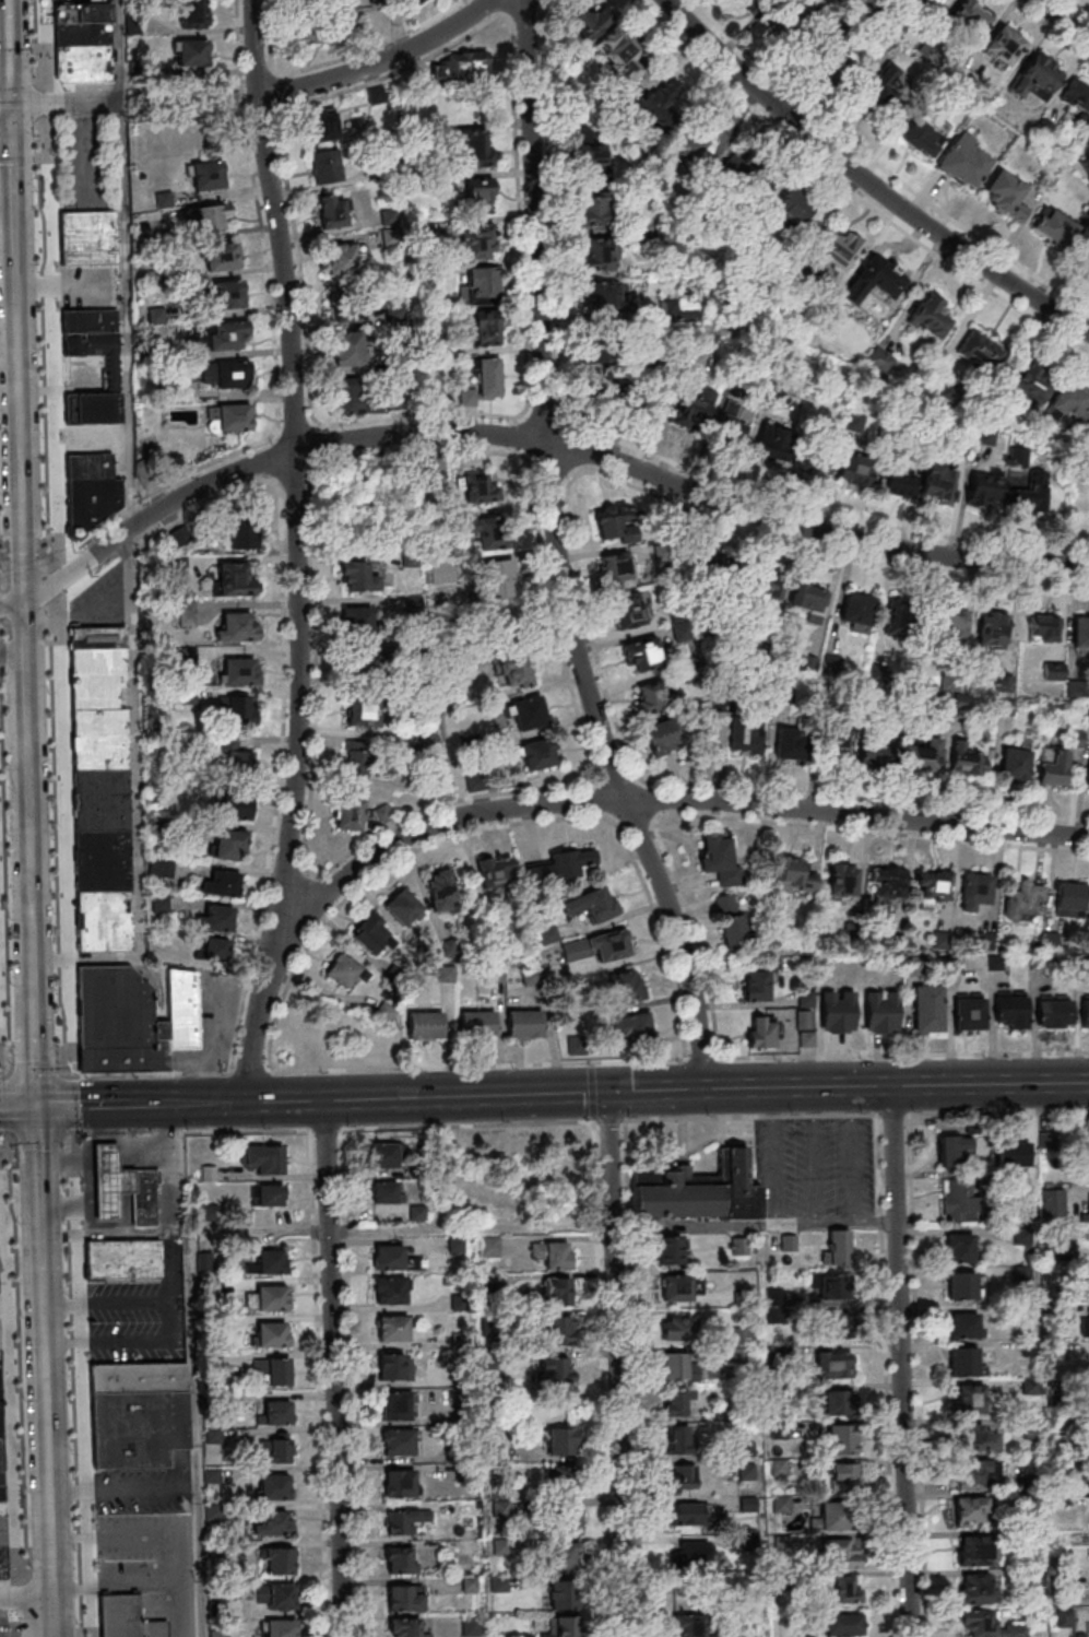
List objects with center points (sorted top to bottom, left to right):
building: (932, 2)
building: (755, 3)
street lamp: (31, 9)
building: (193, 14)
building: (82, 15)
building: (972, 19)
building: (791, 20)
road: (1061, 20)
parking lot: (24, 22)
building: (592, 25)
building: (316, 31)
building: (83, 36)
road: (35, 37)
road: (45, 37)
building: (1005, 46)
road: (14, 48)
road: (37, 48)
road: (10, 50)
building: (191, 51)
building: (616, 56)
building: (839, 57)
road: (336, 60)
road: (379, 61)
building: (83, 66)
building: (465, 66)
street lamp: (32, 74)
building: (1038, 76)
road: (42, 82)
building: (880, 93)
building: (663, 97)
road: (5, 98)
building: (1077, 98)
road: (42, 102)
road: (67, 102)
traffic signals: (11, 103)
road: (5, 108)
building: (322, 125)
road: (43, 136)
street lamp: (34, 139)
building: (922, 139)
building: (469, 141)
road: (15, 157)
road: (37, 157)
building: (591, 161)
building: (963, 161)
parking lot: (88, 163)
building: (325, 165)
building: (208, 175)
building: (750, 175)
road: (866, 180)
road: (13, 191)
parking lot: (28, 191)
building: (478, 195)
building: (1007, 195)
building: (794, 209)
building: (332, 211)
building: (593, 211)
building: (209, 215)
building: (1054, 228)
building: (88, 239)
building: (476, 243)
building: (838, 249)
building: (600, 254)
building: (224, 257)
building: (345, 259)
road: (125, 262)
building: (1088, 266)
street lamp: (37, 271)
building: (875, 280)
building: (482, 286)
parking lot: (88, 287)
building: (227, 295)
building: (604, 296)
building: (347, 306)
building: (930, 315)
parking lot: (1, 323)
building: (484, 331)
building: (224, 335)
parking lot: (32, 342)
road: (274, 344)
building: (347, 351)
building: (980, 351)
street lamp: (39, 355)
road: (50, 357)
road: (43, 358)
road: (17, 362)
building: (602, 369)
building: (232, 374)
building: (1032, 382)
building: (485, 384)
building: (359, 398)
building: (1073, 402)
building: (689, 413)
building: (234, 416)
building: (93, 422)
street lamp: (42, 437)
building: (773, 439)
road: (542, 445)
parking lot: (3, 458)
building: (857, 468)
building: (446, 471)
parking lot: (35, 472)
building: (899, 481)
building: (937, 483)
building: (365, 485)
building: (981, 490)
building: (484, 491)
building: (1027, 497)
street lamp: (43, 514)
building: (613, 520)
road: (21, 523)
building: (242, 534)
building: (490, 537)
road: (295, 551)
road: (555, 554)
road: (43, 561)
road: (4, 562)
road: (21, 562)
building: (703, 564)
road: (52, 565)
street lamp: (0, 569)
building: (622, 574)
building: (354, 576)
building: (234, 578)
building: (493, 580)
road: (52, 582)
building: (812, 601)
parking lot: (97, 603)
road: (11, 604)
road: (54, 611)
building: (857, 611)
building: (628, 612)
street lamp: (45, 615)
building: (897, 617)
building: (356, 621)
building: (951, 622)
street lamp: (1, 624)
road: (45, 626)
building: (237, 626)
road: (5, 627)
road: (23, 627)
building: (1043, 628)
building: (993, 629)
building: (1080, 632)
road: (282, 650)
building: (641, 656)
building: (241, 670)
building: (359, 670)
building: (519, 672)
building: (1054, 672)
road: (25, 684)
street lamp: (48, 693)
building: (651, 698)
street lamp: (3, 700)
building: (237, 708)
building: (529, 712)
building: (362, 714)
parking lot: (42, 716)
building: (663, 740)
building: (746, 740)
building: (791, 743)
building: (838, 745)
building: (874, 753)
building: (928, 753)
building: (538, 754)
building: (358, 756)
building: (967, 756)
building: (238, 762)
street lamp: (49, 763)
building: (1015, 765)
parking lot: (11, 767)
street lamp: (5, 768)
building: (1053, 768)
building: (1088, 774)
building: (100, 790)
road: (134, 799)
building: (235, 801)
road: (609, 802)
building: (350, 815)
road: (748, 820)
road: (636, 823)
road: (619, 824)
road: (652, 824)
road: (497, 825)
road: (28, 828)
street lamp: (7, 835)
street lamp: (51, 838)
building: (229, 845)
road: (55, 846)
road: (67, 846)
building: (720, 859)
building: (558, 865)
building: (161, 868)
building: (494, 871)
building: (793, 873)
building: (842, 880)
parking lot: (46, 881)
building: (933, 884)
building: (890, 885)
building: (440, 888)
building: (975, 891)
road: (4, 894)
building: (1069, 899)
building: (1023, 902)
building: (725, 903)
building: (592, 904)
building: (159, 905)
building: (401, 906)
street lamp: (52, 911)
building: (216, 917)
street lamp: (9, 919)
building: (734, 932)
building: (370, 933)
building: (547, 934)
parking lot: (15, 935)
road: (32, 942)
building: (596, 946)
building: (215, 950)
building: (344, 969)
building: (445, 973)
building: (495, 975)
building: (530, 976)
street lamp: (11, 985)
building: (756, 985)
building: (628, 986)
street lamp: (55, 993)
building: (181, 1008)
building: (927, 1009)
building: (1010, 1010)
building: (383, 1011)
building: (838, 1011)
building: (881, 1012)
building: (969, 1012)
building: (1054, 1013)
building: (1085, 1014)
building: (523, 1022)
building: (118, 1023)
building: (424, 1024)
building: (476, 1024)
parking lot: (212, 1026)
building: (631, 1027)
building: (761, 1032)
building: (576, 1045)
road: (35, 1048)
street lamp: (12, 1053)
road: (901, 1053)
street lamp: (58, 1056)
road: (701, 1058)
road: (1, 1065)
road: (477, 1065)
road: (8, 1068)
road: (35, 1068)
road: (61, 1068)
road: (250, 1072)
road: (2, 1073)
road: (67, 1073)
road: (150, 1073)
road: (1, 1076)
road: (848, 1085)
traffic signals: (608, 1091)
road: (466, 1095)
road: (283, 1100)
road: (182, 1102)
road: (221, 1102)
road: (2, 1103)
road: (81, 1103)
road: (145, 1103)
road: (68, 1104)
road: (17, 1105)
traffic signals: (37, 1105)
road: (996, 1112)
road: (891, 1115)
road: (749, 1116)
road: (609, 1120)
road: (466, 1124)
road: (324, 1129)
road: (105, 1130)
road: (190, 1132)
road: (69, 1134)
road: (3, 1135)
road: (1, 1138)
road: (63, 1141)
road: (38, 1142)
road: (10, 1143)
road: (1, 1146)
street lamp: (62, 1147)
building: (952, 1151)
road: (815, 1154)
building: (386, 1155)
road: (774, 1155)
road: (853, 1155)
building: (1013, 1155)
street lamp: (15, 1158)
road: (102, 1158)
building: (261, 1158)
building: (108, 1185)
building: (699, 1191)
building: (386, 1192)
building: (267, 1196)
building: (142, 1200)
building: (960, 1202)
building: (1053, 1203)
road: (39, 1205)
street lamp: (17, 1223)
street lamp: (64, 1224)
road: (168, 1228)
road: (566, 1229)
building: (839, 1245)
building: (488, 1247)
building: (960, 1249)
building: (670, 1251)
building: (553, 1255)
building: (392, 1258)
building: (122, 1260)
building: (268, 1262)
building: (962, 1285)
building: (834, 1287)
building: (676, 1288)
building: (389, 1291)
building: (558, 1291)
street lamp: (67, 1295)
building: (271, 1297)
road: (106, 1304)
parking lot: (139, 1316)
street lamp: (21, 1317)
building: (1085, 1321)
building: (834, 1323)
building: (962, 1326)
building: (392, 1328)
building: (676, 1328)
building: (559, 1330)
road: (44, 1334)
building: (272, 1334)
road: (153, 1340)
road: (958, 1345)
road: (899, 1361)
building: (964, 1361)
road: (19, 1362)
road: (616, 1364)
building: (836, 1365)
building: (390, 1366)
building: (677, 1367)
road: (333, 1368)
building: (556, 1370)
building: (275, 1371)
parking lot: (29, 1374)
street lamp: (70, 1379)
building: (139, 1381)
road: (348, 1382)
road: (318, 1383)
road: (7, 1385)
road: (72, 1388)
road: (81, 1388)
building: (973, 1399)
street lamp: (24, 1400)
building: (675, 1402)
building: (838, 1402)
building: (399, 1405)
building: (273, 1412)
building: (138, 1430)
parking lot: (63, 1433)
road: (196, 1433)
building: (980, 1437)
building: (680, 1440)
building: (841, 1440)
building: (399, 1441)
building: (561, 1441)
building: (276, 1450)
street lamp: (72, 1453)
building: (0, 1463)
building: (978, 1471)
building: (841, 1477)
building: (683, 1479)
road: (48, 1480)
building: (0, 1482)
building: (399, 1483)
building: (275, 1486)
parking lot: (145, 1488)
road: (123, 1489)
street lamp: (27, 1492)
building: (564, 1500)
building: (1, 1505)
building: (971, 1511)
building: (689, 1515)
building: (834, 1518)
building: (402, 1520)
building: (274, 1523)
building: (1, 1534)
street lamp: (74, 1550)
building: (973, 1551)
building: (840, 1553)
building: (691, 1555)
building: (2, 1556)
building: (566, 1557)
building: (277, 1561)
building: (399, 1561)
parking lot: (151, 1564)
street lamp: (28, 1566)
road: (81, 1567)
road: (51, 1569)
building: (2, 1573)
road: (22, 1574)
building: (979, 1588)
road: (39, 1589)
building: (845, 1591)
road: (25, 1595)
building: (275, 1595)
building: (564, 1595)
road: (12, 1597)
building: (405, 1598)
road: (5, 1614)
street lamp: (16, 1616)
road: (54, 1616)
building: (126, 1618)
parking lot: (70, 1622)
road: (11, 1623)
building: (979, 1623)
street lamp: (76, 1625)
building: (693, 1625)
building: (844, 1625)
building: (471, 1626)
building: (405, 1627)
building: (561, 1627)
parking lot: (3, 1628)
building: (279, 1628)
building: (1015, 1629)

